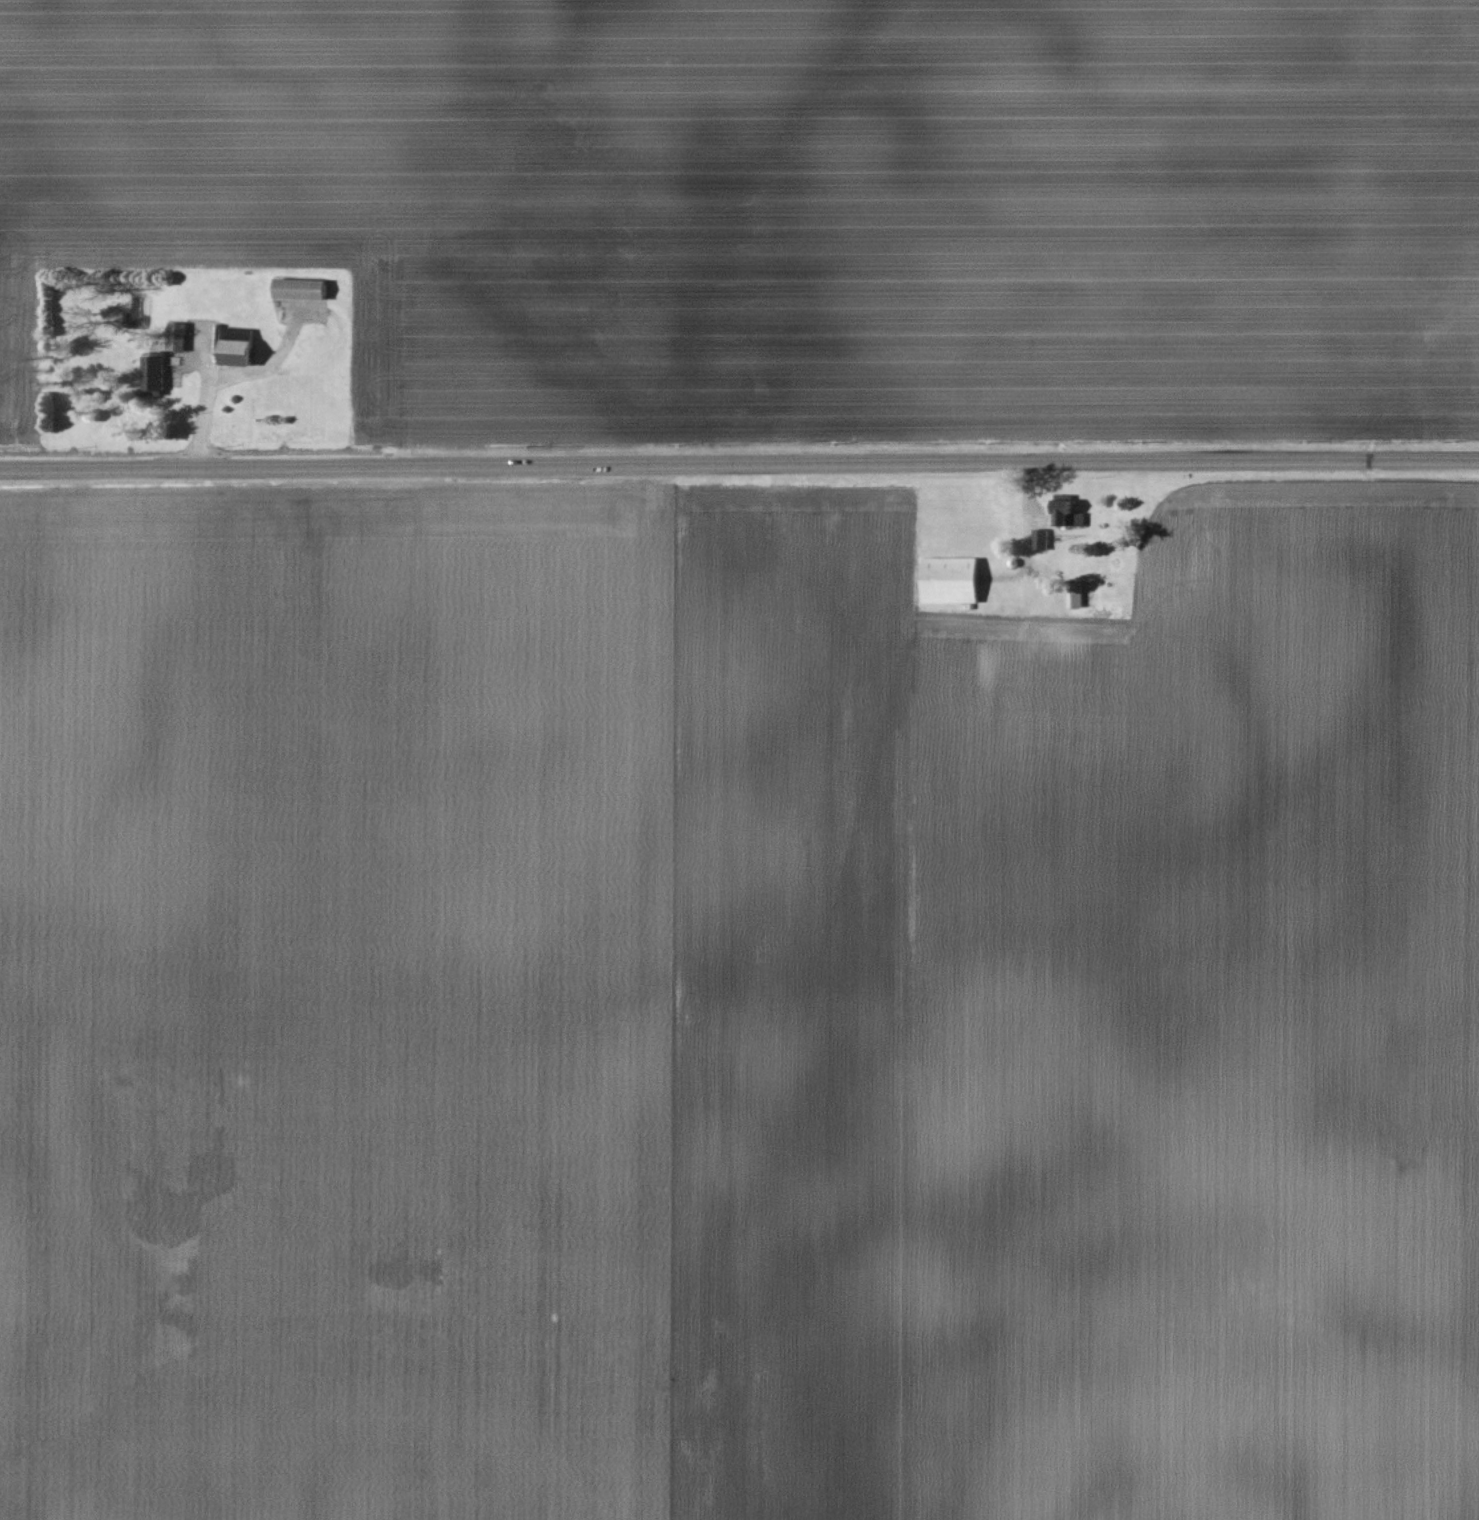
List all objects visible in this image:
building: (303, 289)
building: (179, 336)
building: (156, 374)
road: (208, 402)
road: (739, 456)
road: (1030, 528)

